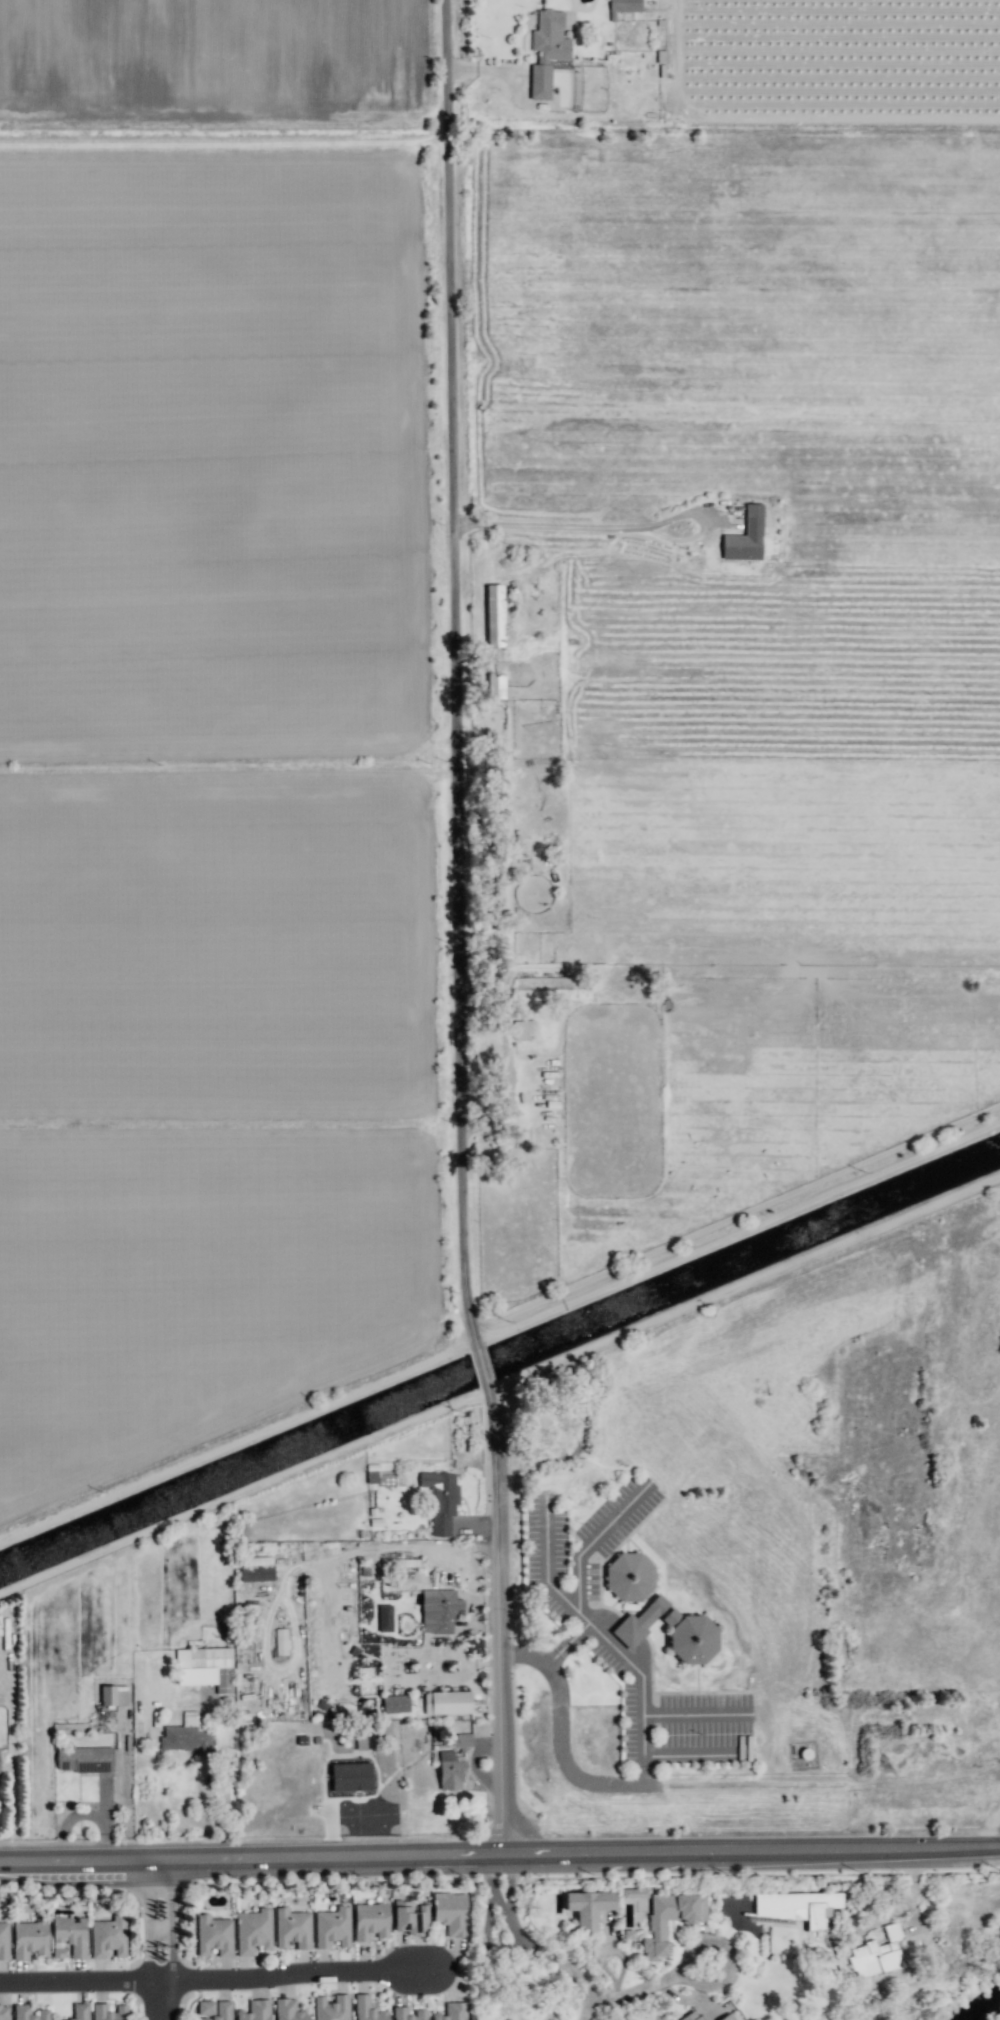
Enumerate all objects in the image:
building: (624, 6)
building: (546, 50)
road: (512, 70)
road: (572, 526)
building: (745, 536)
building: (494, 615)
building: (496, 686)
road: (467, 930)
building: (551, 988)
building: (523, 1029)
building: (441, 1500)
road: (591, 1541)
building: (256, 1569)
road: (293, 1571)
building: (630, 1576)
building: (439, 1610)
road: (470, 1614)
building: (384, 1618)
building: (671, 1631)
road: (602, 1633)
road: (574, 1637)
building: (280, 1641)
road: (552, 1657)
road: (460, 1658)
building: (204, 1667)
building: (366, 1681)
road: (476, 1691)
building: (114, 1695)
building: (447, 1702)
building: (395, 1703)
building: (187, 1735)
road: (561, 1739)
building: (464, 1741)
building: (84, 1759)
building: (450, 1770)
building: (351, 1776)
road: (103, 1797)
road: (85, 1815)
road: (204, 1819)
road: (209, 1837)
road: (500, 1857)
road: (508, 1883)
road: (492, 1885)
building: (589, 1907)
building: (799, 1909)
building: (451, 1912)
building: (662, 1915)
building: (411, 1919)
building: (371, 1920)
building: (333, 1927)
building: (293, 1928)
building: (253, 1931)
building: (71, 1934)
building: (214, 1935)
building: (109, 1937)
road: (156, 1937)
building: (30, 1939)
building: (3, 1940)
road: (689, 1954)
road: (545, 1955)
building: (877, 1955)
road: (219, 1978)
building: (332, 2008)
building: (368, 2009)
road: (583, 2009)
building: (289, 2010)
building: (81, 2011)
building: (221, 2011)
building: (255, 2011)
building: (3, 2012)
building: (109, 2012)
building: (401, 2012)
building: (453, 2012)
building: (29, 2013)
building: (691, 2016)
building: (727, 2017)
building: (60, 2019)

